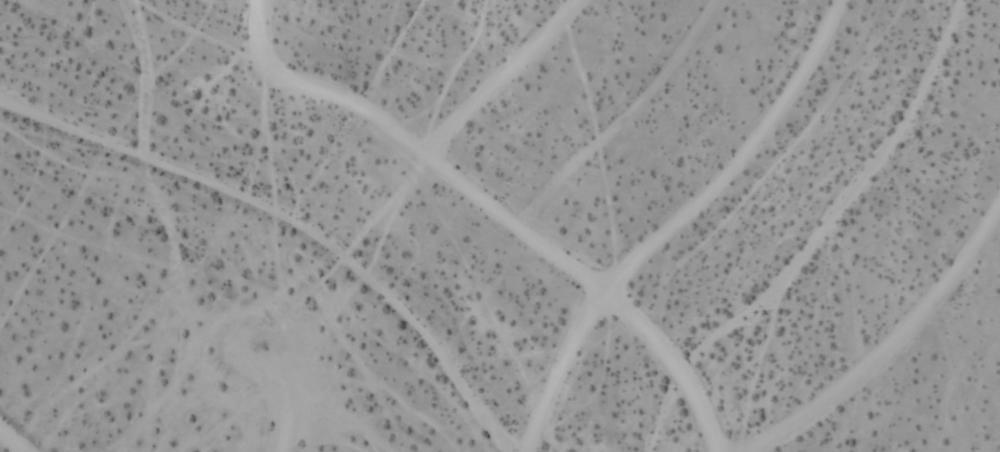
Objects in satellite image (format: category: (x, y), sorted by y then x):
road: (502, 80)
road: (319, 92)
road: (679, 222)
crop: (500, 226)
road: (596, 291)
road: (895, 349)
road: (226, 378)

